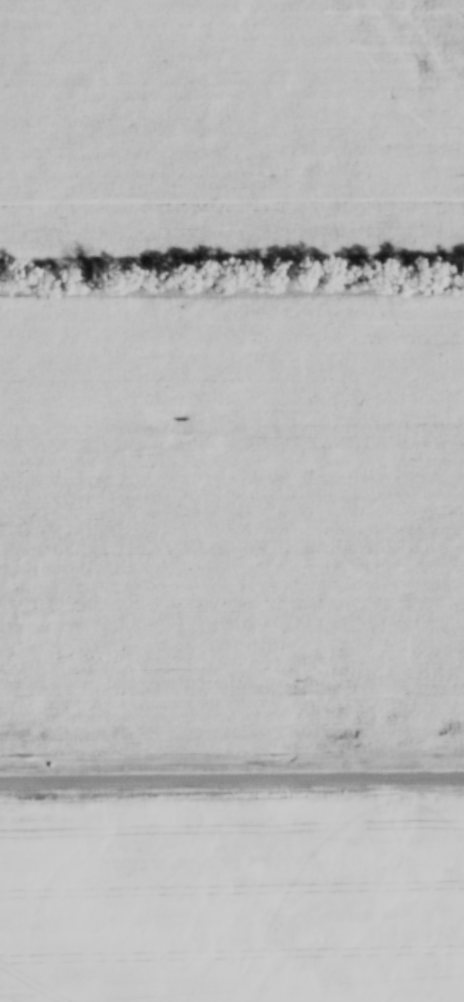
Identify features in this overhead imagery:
road: (232, 775)

